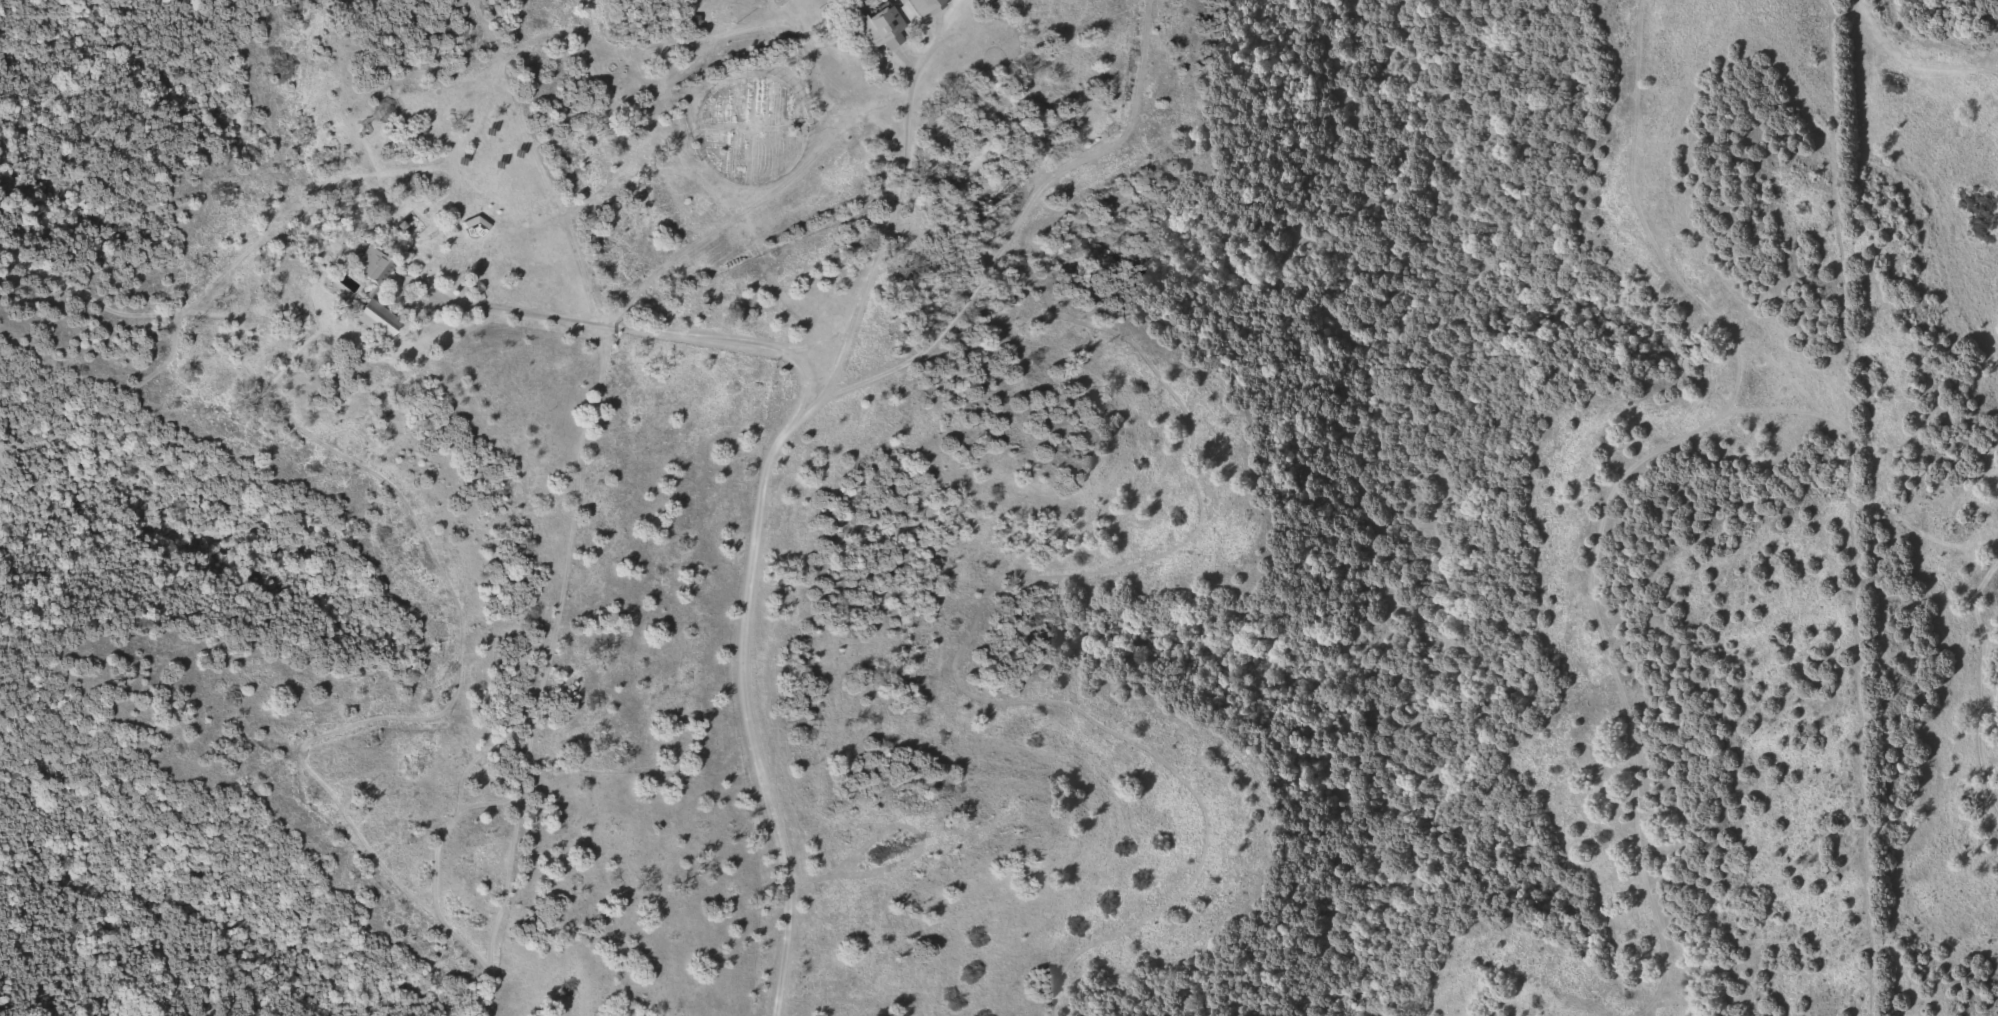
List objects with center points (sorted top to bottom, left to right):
building: (923, 5)
building: (695, 20)
building: (882, 25)
park: (1075, 126)
building: (478, 226)
building: (372, 266)
road: (58, 277)
building: (377, 319)
road: (652, 330)
road: (755, 537)
road: (139, 896)

